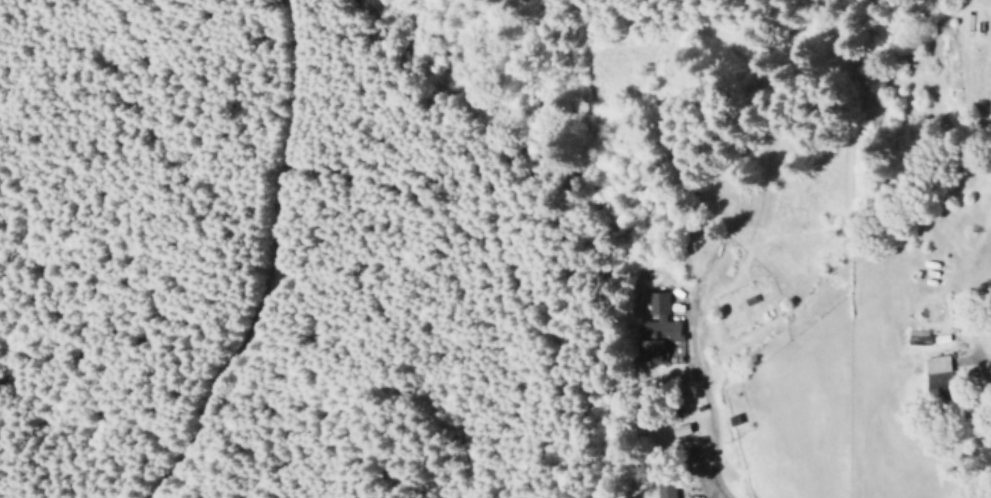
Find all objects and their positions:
building: (664, 331)
building: (916, 335)
building: (936, 371)
road: (977, 378)
road: (661, 424)
building: (665, 489)

